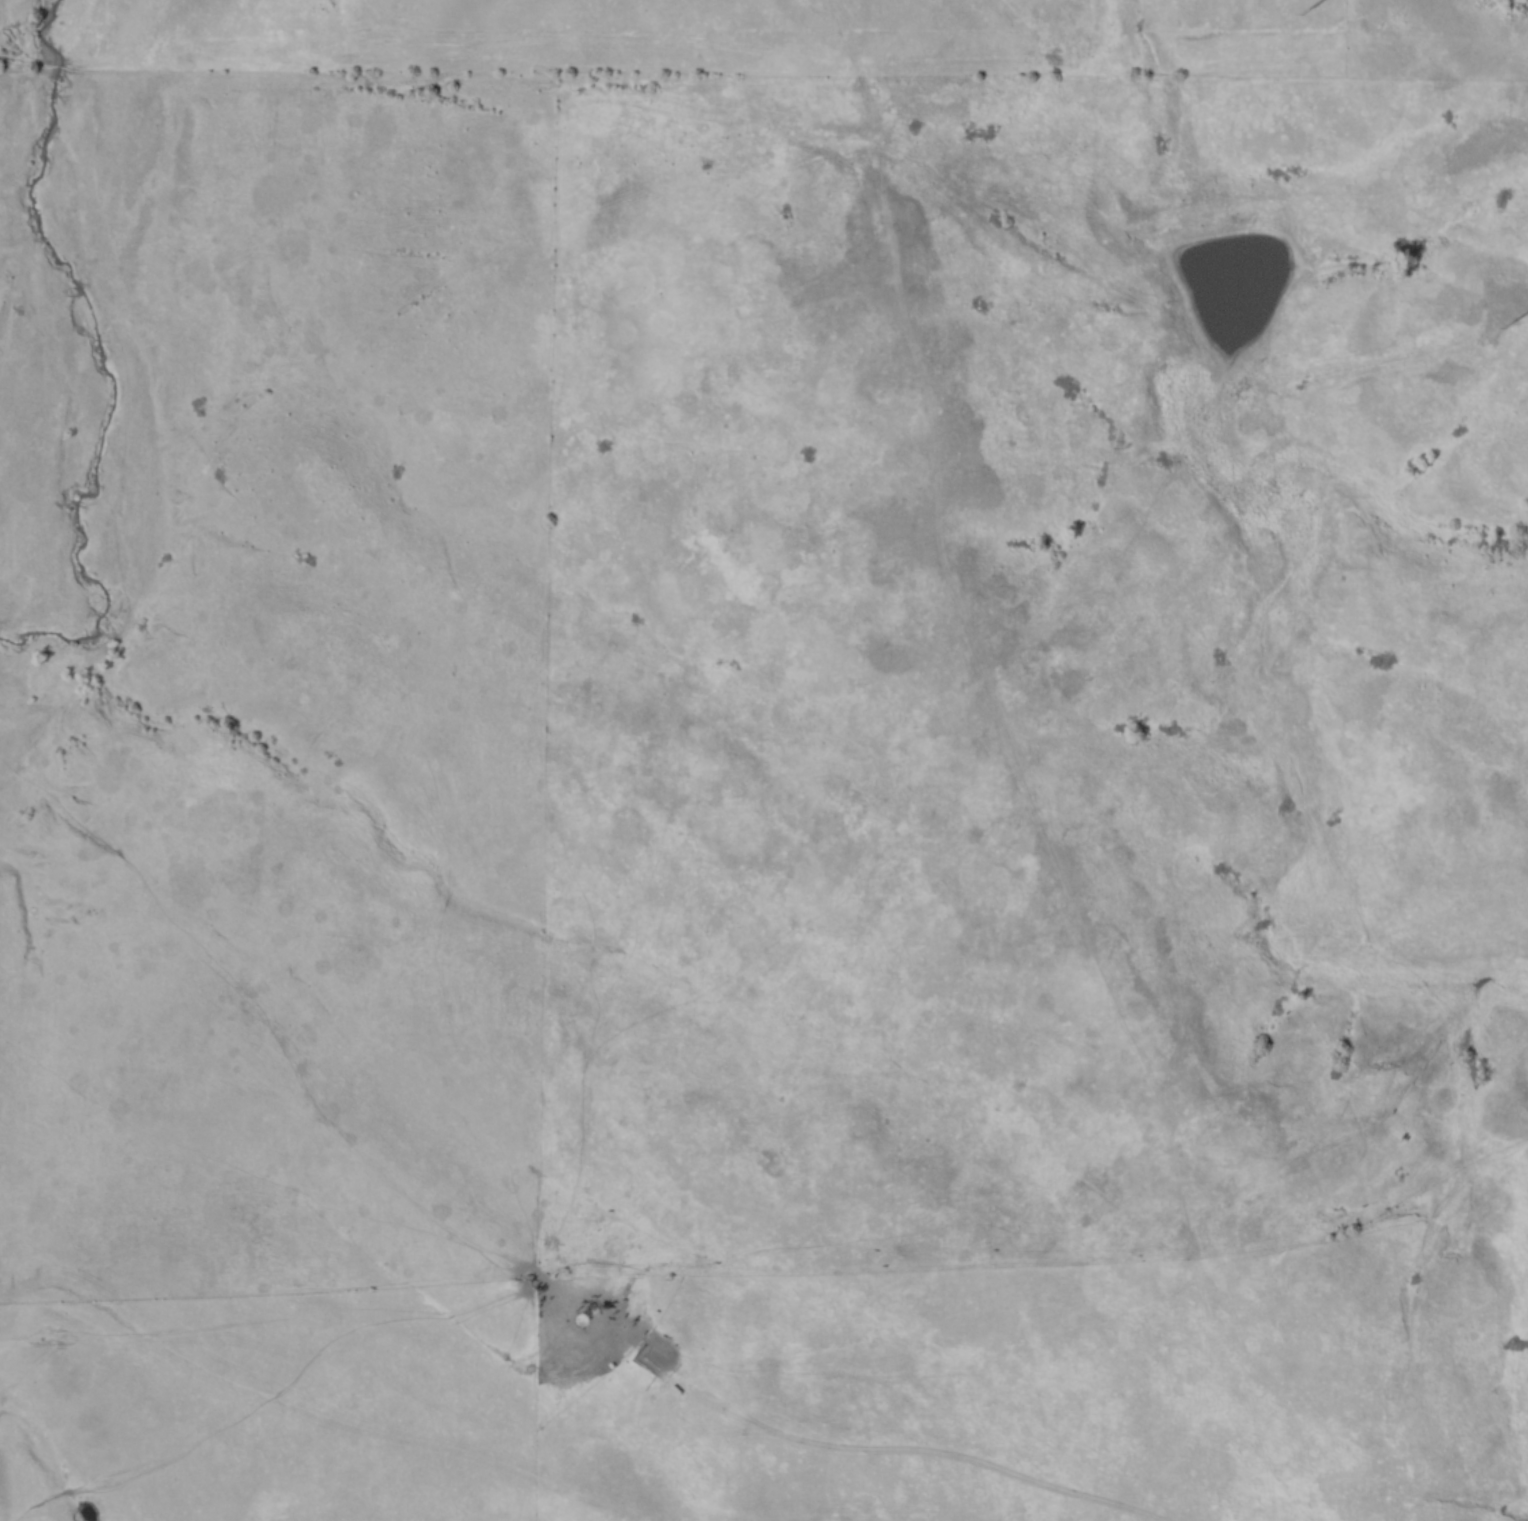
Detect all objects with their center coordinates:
power tower: (1310, 13)
power tower: (1513, 326)

